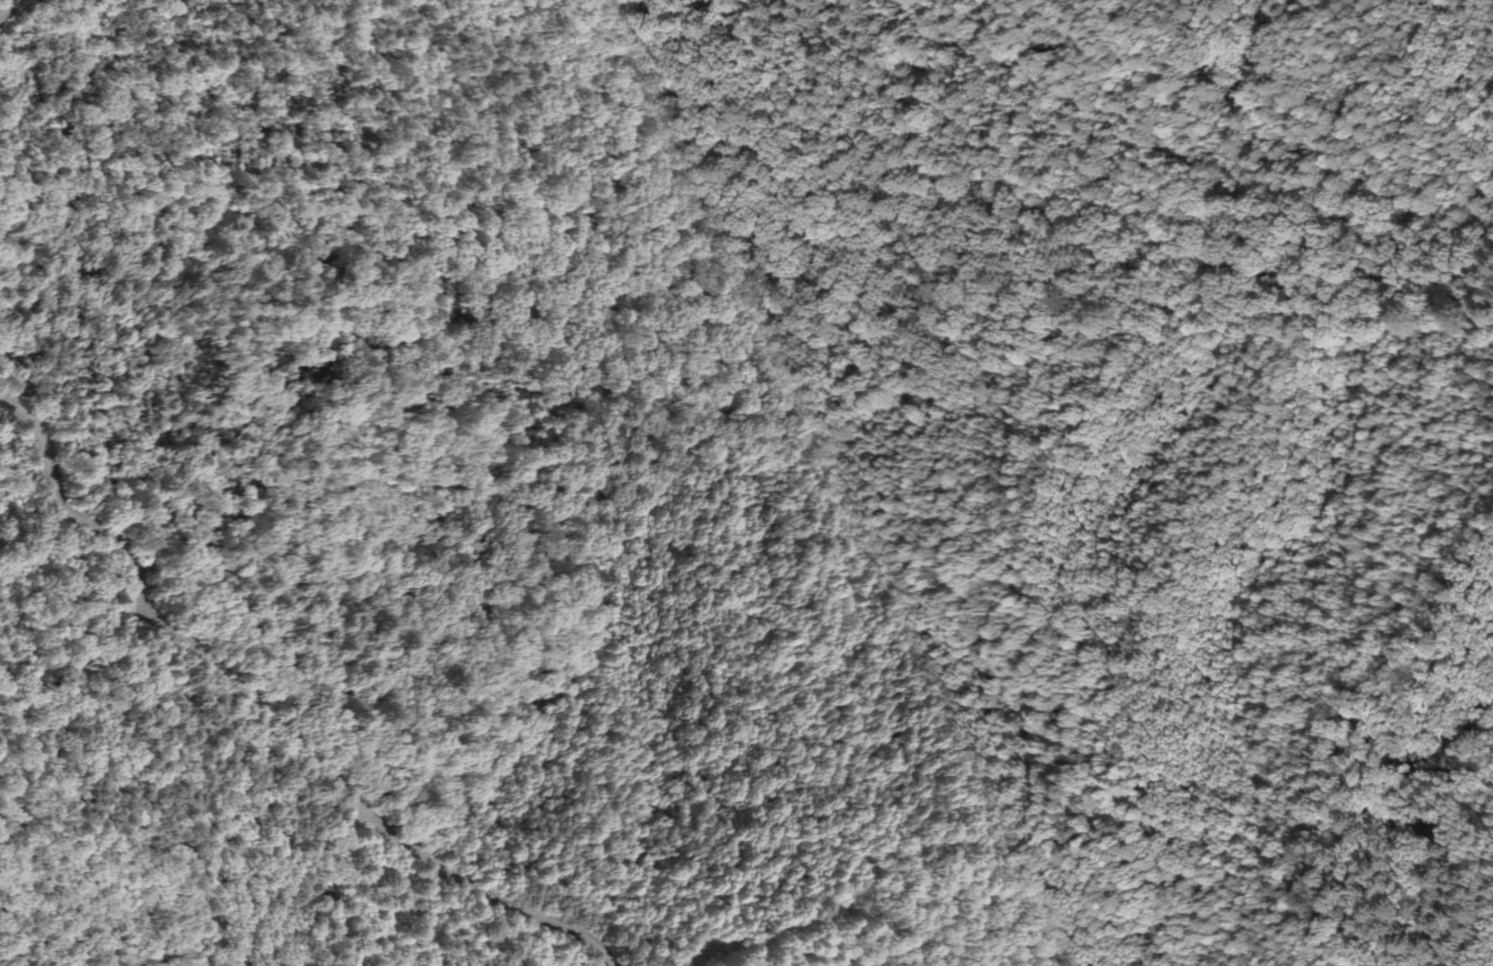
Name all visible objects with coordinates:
road: (11, 14)
road: (268, 712)

